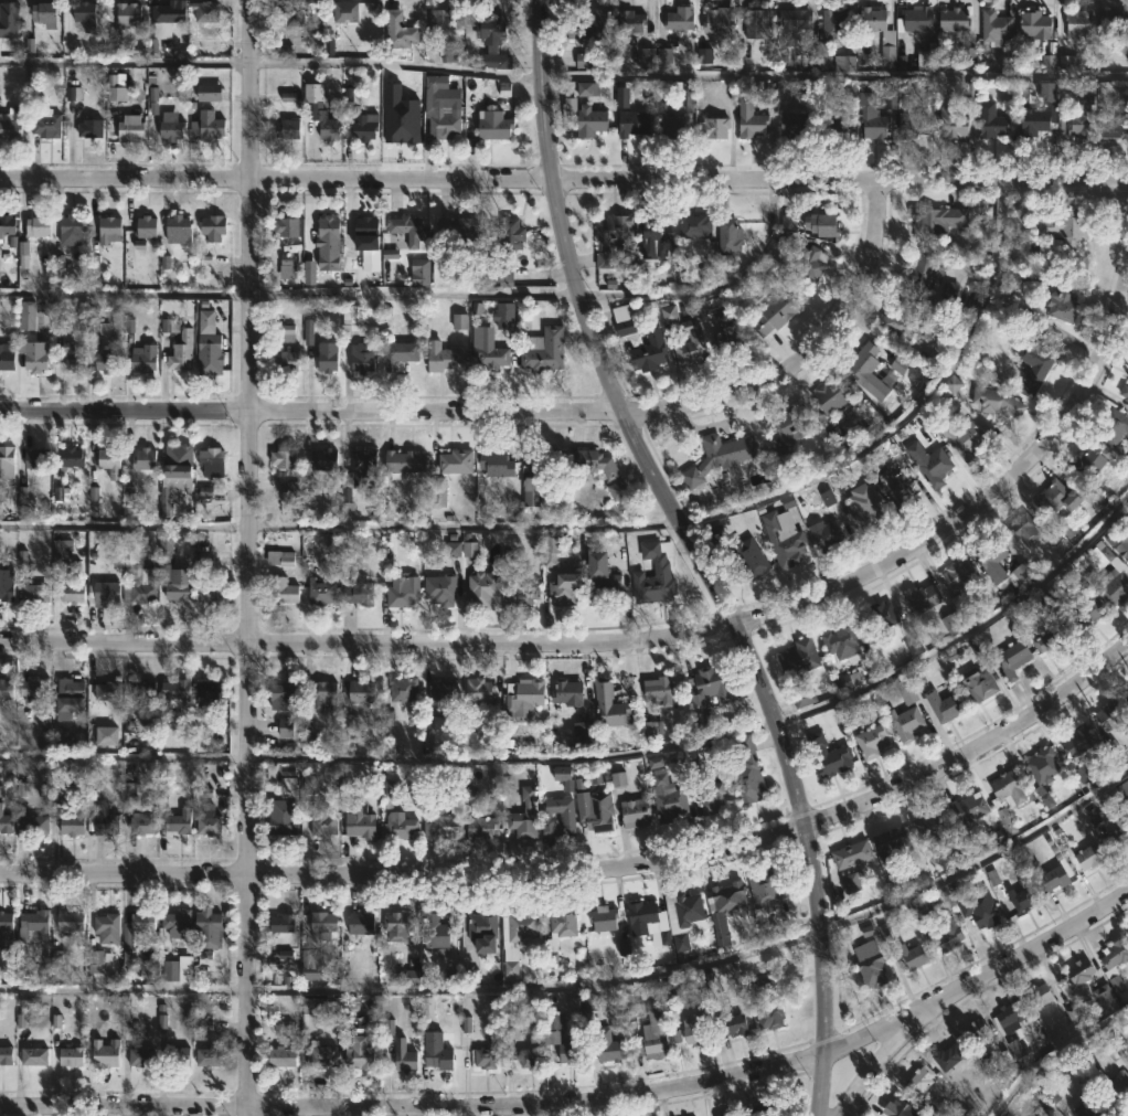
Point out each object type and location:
building: (205, 10)
building: (345, 10)
building: (44, 12)
building: (128, 13)
building: (84, 14)
building: (290, 15)
building: (9, 18)
building: (680, 18)
building: (795, 18)
building: (873, 18)
building: (719, 19)
building: (914, 19)
building: (441, 20)
building: (955, 20)
building: (1113, 20)
building: (164, 21)
building: (630, 21)
building: (758, 22)
building: (833, 23)
building: (1036, 23)
building: (1078, 23)
building: (589, 25)
building: (997, 28)
building: (398, 29)
building: (493, 39)
building: (927, 56)
road: (125, 59)
road: (397, 64)
road: (834, 75)
building: (209, 92)
building: (872, 116)
building: (671, 117)
building: (751, 117)
building: (1082, 118)
building: (590, 120)
building: (795, 120)
building: (992, 120)
building: (1034, 121)
building: (634, 123)
building: (45, 124)
building: (206, 124)
building: (444, 124)
building: (493, 124)
building: (954, 124)
building: (403, 125)
building: (912, 125)
building: (9, 126)
building: (363, 126)
building: (1114, 126)
building: (88, 127)
building: (129, 127)
building: (170, 127)
building: (713, 127)
building: (329, 128)
building: (287, 130)
road: (564, 179)
building: (7, 221)
building: (936, 221)
building: (822, 224)
building: (694, 225)
building: (38, 226)
building: (286, 226)
building: (1052, 226)
building: (145, 227)
building: (212, 227)
building: (458, 227)
building: (109, 228)
building: (178, 228)
building: (409, 228)
building: (72, 230)
building: (366, 232)
building: (510, 233)
building: (728, 234)
building: (328, 235)
building: (653, 235)
building: (610, 237)
building: (810, 262)
building: (419, 270)
building: (502, 272)
building: (923, 274)
road: (289, 294)
building: (1062, 305)
building: (775, 311)
building: (504, 316)
building: (350, 317)
building: (205, 321)
building: (898, 322)
building: (625, 323)
building: (728, 331)
building: (286, 336)
building: (690, 343)
building: (209, 344)
building: (181, 351)
building: (487, 351)
building: (543, 351)
building: (649, 351)
building: (400, 354)
building: (34, 355)
building: (363, 355)
building: (6, 357)
building: (73, 357)
building: (327, 357)
building: (441, 357)
building: (142, 358)
building: (1034, 358)
building: (106, 361)
building: (286, 361)
building: (210, 362)
building: (862, 365)
building: (1125, 392)
building: (827, 402)
building: (998, 402)
building: (1126, 408)
road: (506, 412)
building: (791, 424)
building: (1114, 427)
building: (961, 436)
road: (249, 437)
building: (68, 457)
building: (719, 457)
building: (35, 458)
building: (143, 459)
building: (283, 459)
building: (177, 460)
building: (324, 460)
building: (108, 461)
building: (405, 461)
building: (456, 461)
building: (929, 461)
building: (6, 463)
building: (211, 463)
building: (596, 463)
building: (494, 464)
building: (1089, 464)
building: (360, 472)
building: (535, 475)
building: (893, 483)
building: (289, 490)
building: (531, 491)
building: (1061, 496)
building: (866, 508)
road: (125, 524)
road: (464, 527)
building: (1025, 529)
building: (826, 535)
building: (783, 538)
building: (1119, 541)
building: (550, 549)
building: (746, 553)
road: (696, 554)
building: (279, 557)
building: (991, 559)
building: (958, 575)
building: (653, 576)
building: (1111, 577)
building: (136, 578)
building: (600, 580)
building: (177, 583)
building: (6, 585)
building: (440, 588)
building: (482, 588)
building: (564, 589)
building: (283, 591)
building: (359, 592)
building: (34, 593)
building: (72, 593)
building: (105, 593)
building: (206, 593)
building: (320, 593)
building: (401, 595)
building: (521, 595)
building: (965, 608)
building: (929, 613)
building: (1087, 613)
building: (877, 618)
road: (653, 637)
building: (1052, 640)
building: (842, 641)
building: (799, 658)
building: (1013, 658)
building: (979, 680)
building: (34, 688)
building: (403, 689)
building: (659, 689)
building: (710, 689)
building: (6, 690)
building: (142, 690)
building: (174, 691)
building: (443, 691)
building: (479, 691)
building: (106, 692)
building: (361, 692)
building: (568, 692)
building: (322, 693)
building: (523, 694)
building: (281, 695)
building: (1126, 697)
building: (66, 703)
building: (205, 704)
building: (945, 704)
building: (609, 705)
building: (1109, 714)
building: (905, 723)
building: (872, 741)
building: (1078, 741)
building: (828, 755)
road: (124, 756)
road: (511, 757)
building: (1043, 765)
building: (747, 772)
building: (288, 789)
building: (1007, 791)
building: (667, 797)
building: (711, 797)
building: (968, 811)
building: (599, 812)
building: (635, 812)
building: (523, 816)
building: (283, 818)
building: (104, 819)
building: (566, 819)
building: (440, 820)
building: (142, 821)
building: (178, 821)
building: (322, 821)
building: (72, 822)
building: (6, 823)
building: (209, 823)
building: (34, 826)
building: (360, 826)
building: (397, 826)
building: (927, 826)
building: (480, 828)
building: (1120, 832)
building: (894, 840)
road: (713, 850)
building: (851, 854)
building: (1089, 858)
road: (980, 860)
road: (124, 874)
building: (1054, 879)
building: (851, 885)
building: (766, 891)
building: (728, 897)
building: (1021, 900)
building: (979, 908)
building: (684, 917)
building: (603, 918)
building: (563, 922)
building: (648, 922)
building: (32, 923)
building: (68, 923)
building: (141, 923)
building: (175, 923)
building: (281, 924)
building: (360, 924)
building: (482, 925)
building: (322, 926)
building: (396, 927)
building: (519, 927)
building: (106, 928)
building: (207, 931)
building: (6, 933)
building: (435, 933)
building: (948, 935)
building: (1115, 956)
building: (913, 957)
building: (510, 963)
building: (870, 970)
building: (171, 972)
building: (1079, 972)
road: (413, 990)
road: (247, 996)
building: (1040, 996)
building: (317, 1010)
building: (770, 1017)
building: (1011, 1017)
building: (732, 1024)
building: (655, 1027)
building: (695, 1029)
building: (976, 1032)
building: (563, 1049)
building: (609, 1051)
road: (1052, 1052)
building: (105, 1053)
building: (1020, 1053)
building: (6, 1055)
building: (359, 1055)
building: (33, 1056)
building: (175, 1056)
building: (321, 1056)
building: (70, 1057)
building: (140, 1057)
building: (206, 1057)
building: (281, 1057)
building: (486, 1057)
building: (948, 1057)
building: (438, 1059)
building: (530, 1059)
building: (405, 1061)
road: (874, 1066)
building: (921, 1080)
building: (1118, 1085)
road: (586, 1101)
building: (902, 1108)
building: (765, 1109)
building: (1090, 1109)
building: (727, 1114)

